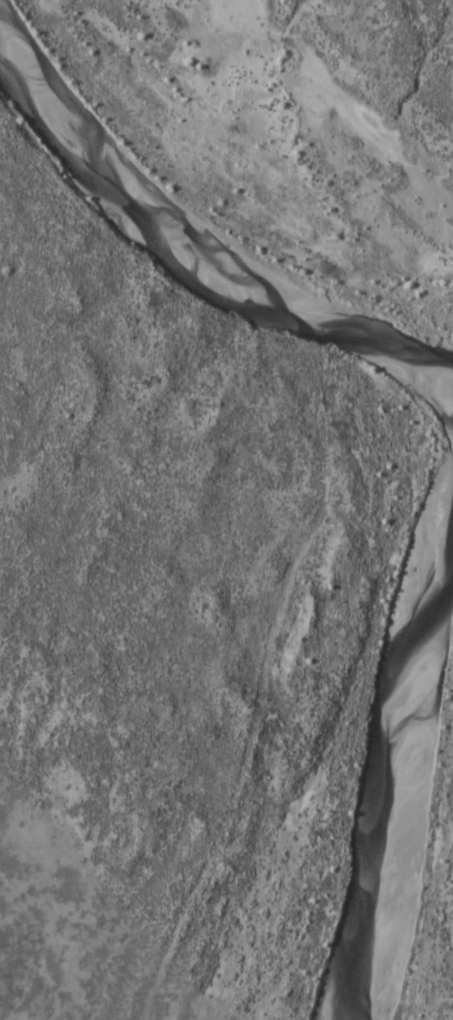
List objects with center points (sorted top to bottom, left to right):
river: (189, 254)
river: (403, 755)

